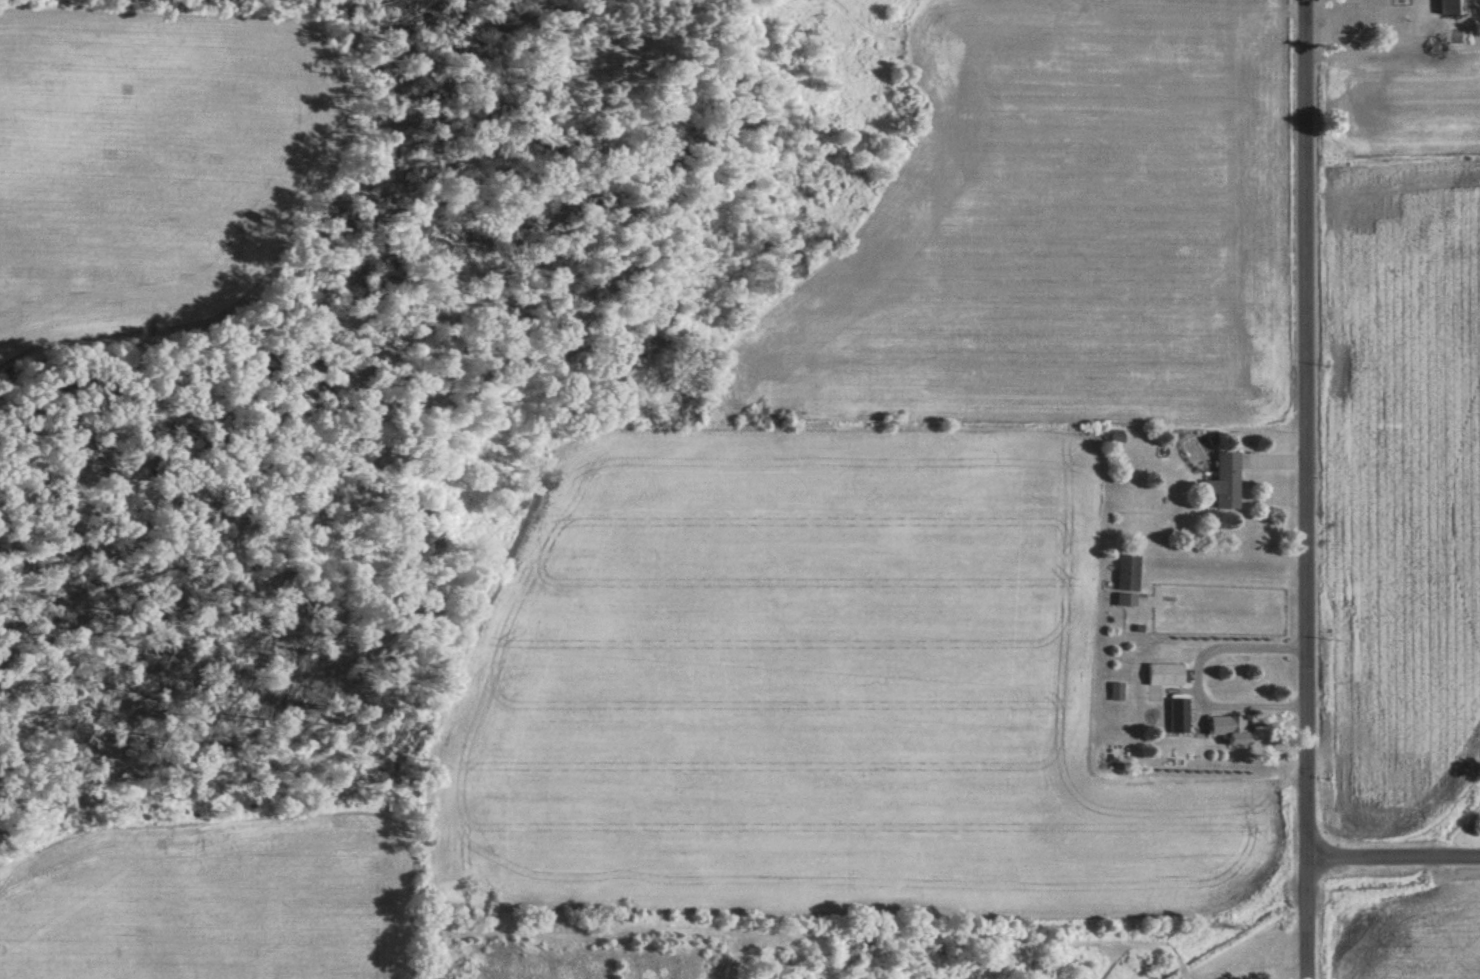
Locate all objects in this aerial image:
building: (1450, 8)
building: (1224, 482)
road: (1308, 489)
building: (1126, 581)
building: (1163, 675)
building: (1115, 692)
building: (1176, 716)
building: (1226, 730)
road: (1395, 857)

